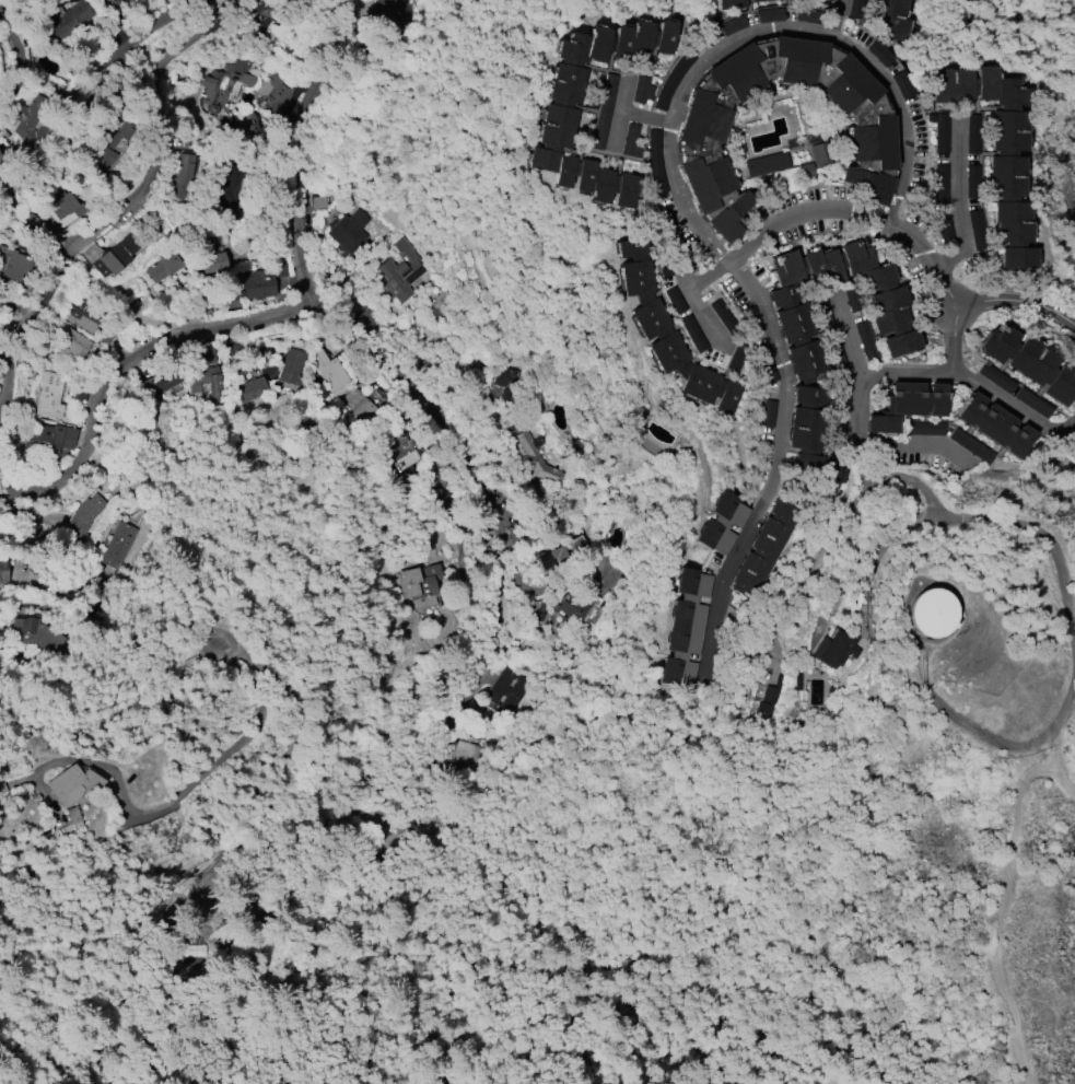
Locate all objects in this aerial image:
building: (756, 0)
building: (101, 1)
building: (731, 3)
building: (127, 4)
building: (855, 10)
building: (264, 11)
building: (389, 15)
building: (770, 15)
building: (891, 18)
building: (65, 22)
road: (762, 30)
road: (128, 46)
building: (880, 54)
road: (31, 56)
building: (670, 81)
building: (226, 82)
building: (643, 91)
road: (62, 92)
building: (277, 94)
building: (604, 112)
road: (620, 114)
road: (647, 118)
building: (28, 125)
building: (557, 126)
building: (939, 131)
building: (631, 141)
building: (869, 141)
building: (972, 147)
building: (997, 151)
building: (103, 153)
building: (4, 159)
building: (654, 162)
building: (766, 164)
building: (178, 176)
building: (971, 182)
building: (940, 184)
building: (223, 188)
building: (319, 203)
building: (66, 208)
road: (126, 208)
road: (953, 209)
building: (975, 230)
building: (348, 231)
building: (115, 257)
building: (209, 258)
building: (12, 263)
building: (164, 267)
building: (399, 272)
road: (738, 275)
building: (259, 283)
road: (309, 289)
road: (691, 289)
building: (888, 312)
building: (79, 317)
building: (665, 330)
road: (849, 338)
building: (70, 343)
road: (159, 343)
building: (1029, 363)
building: (290, 366)
building: (328, 371)
building: (160, 383)
road: (981, 387)
building: (253, 389)
building: (1014, 391)
building: (51, 395)
building: (358, 401)
building: (907, 405)
road: (1, 417)
road: (854, 419)
road: (1, 422)
building: (994, 426)
building: (55, 438)
building: (810, 442)
building: (1074, 446)
parking lot: (919, 450)
building: (1074, 454)
building: (401, 455)
building: (537, 459)
road: (863, 465)
road: (30, 491)
road: (924, 491)
building: (83, 516)
building: (720, 523)
building: (119, 539)
road: (1050, 541)
building: (763, 549)
building: (561, 556)
road: (810, 569)
building: (3, 572)
building: (420, 584)
building: (569, 610)
building: (933, 613)
water tower: (919, 616)
building: (683, 628)
building: (34, 634)
building: (833, 648)
building: (509, 688)
road: (257, 690)
building: (766, 698)
road: (1063, 712)
road: (456, 716)
road: (966, 727)
building: (467, 757)
road: (1058, 779)
building: (71, 784)
road: (272, 848)
road: (1003, 911)

